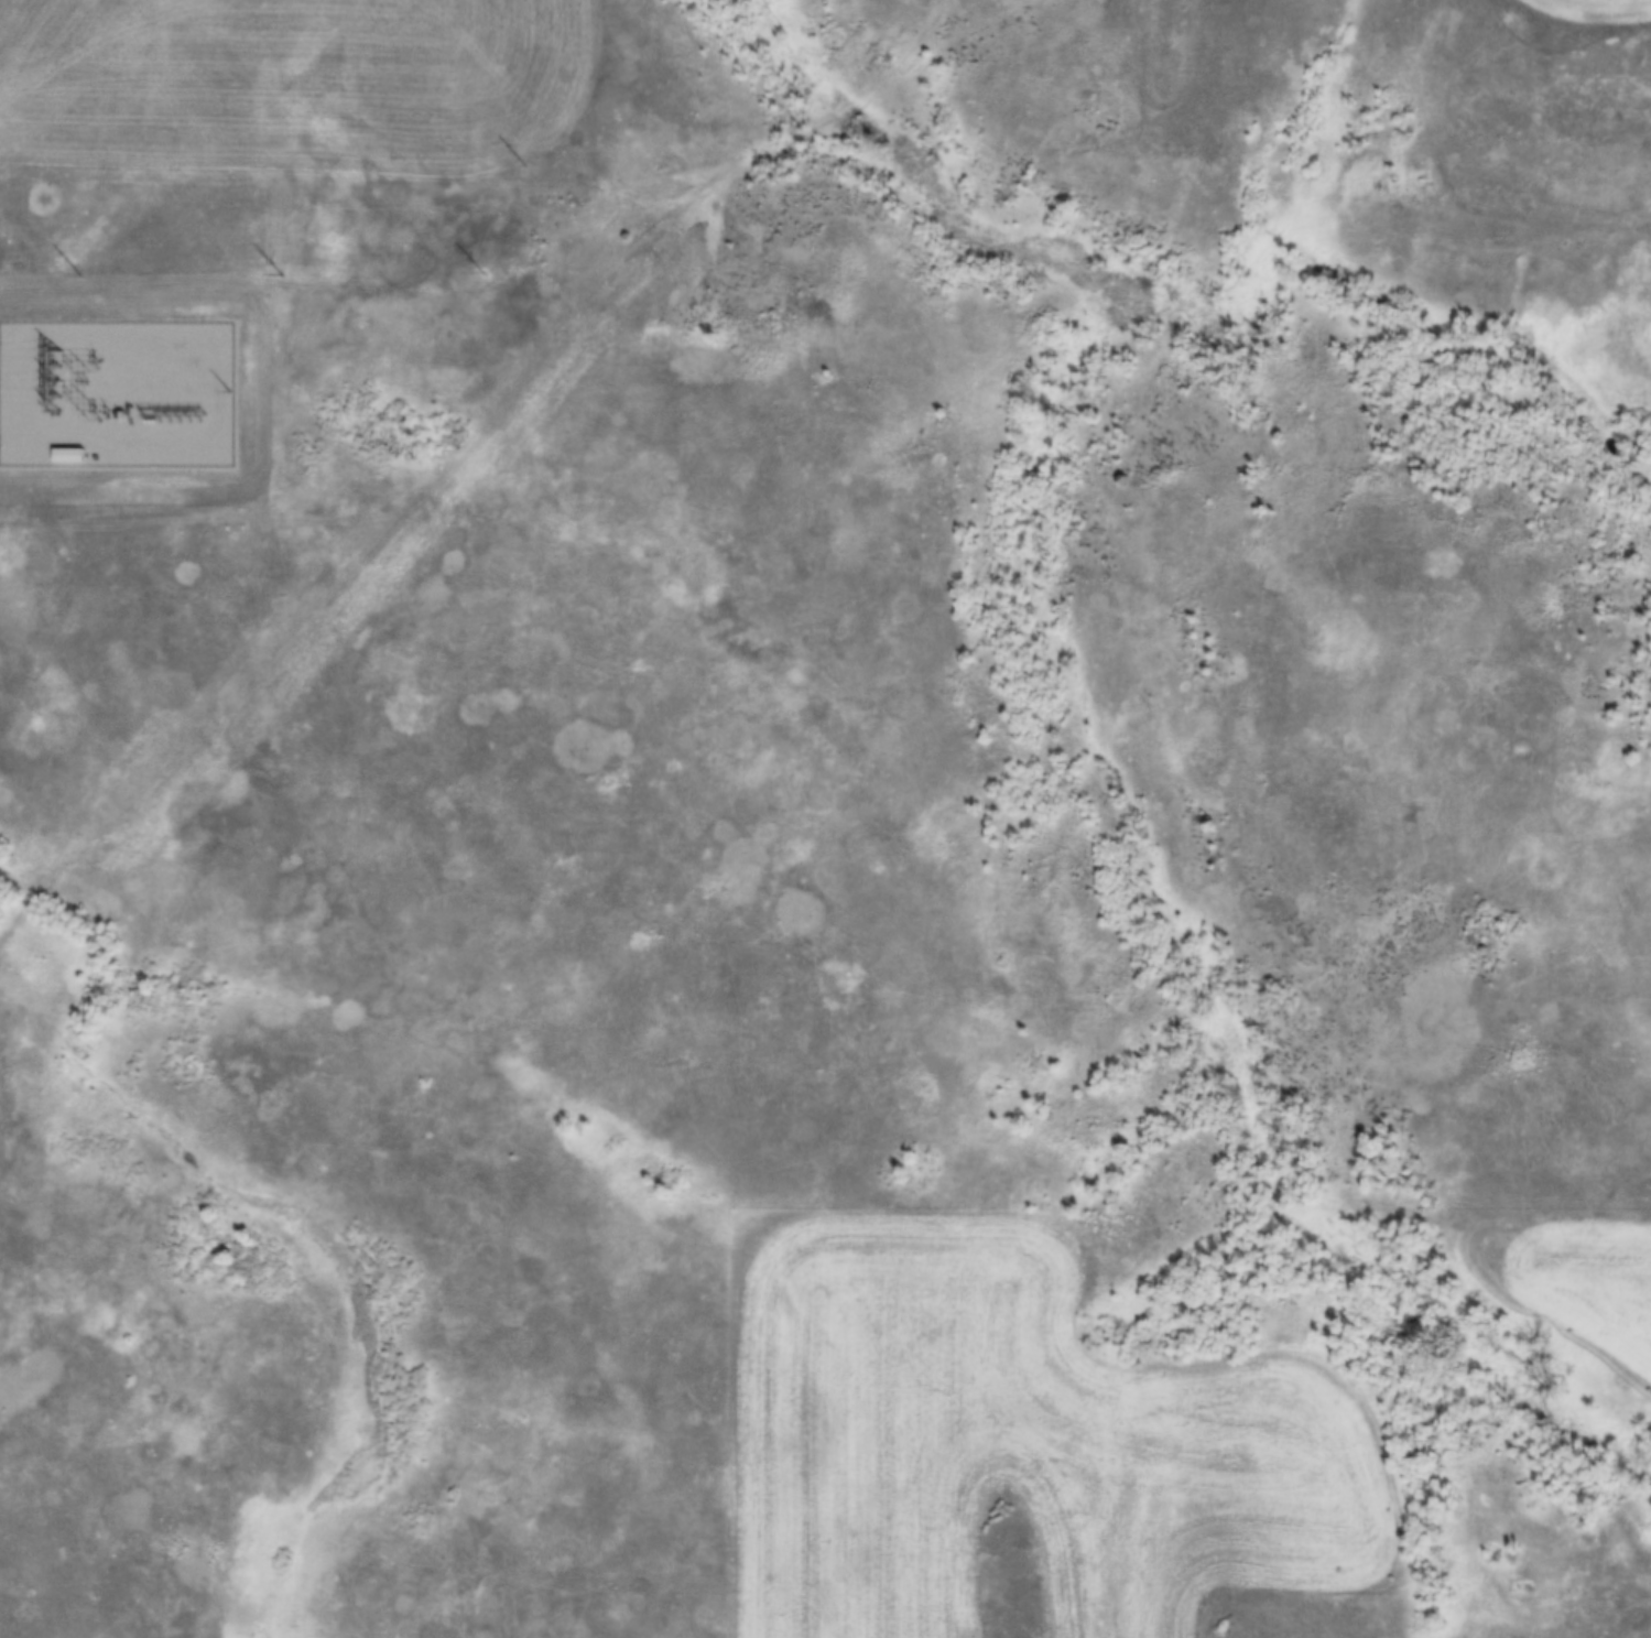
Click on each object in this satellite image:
road: (1444, 132)
power substation: (118, 393)

